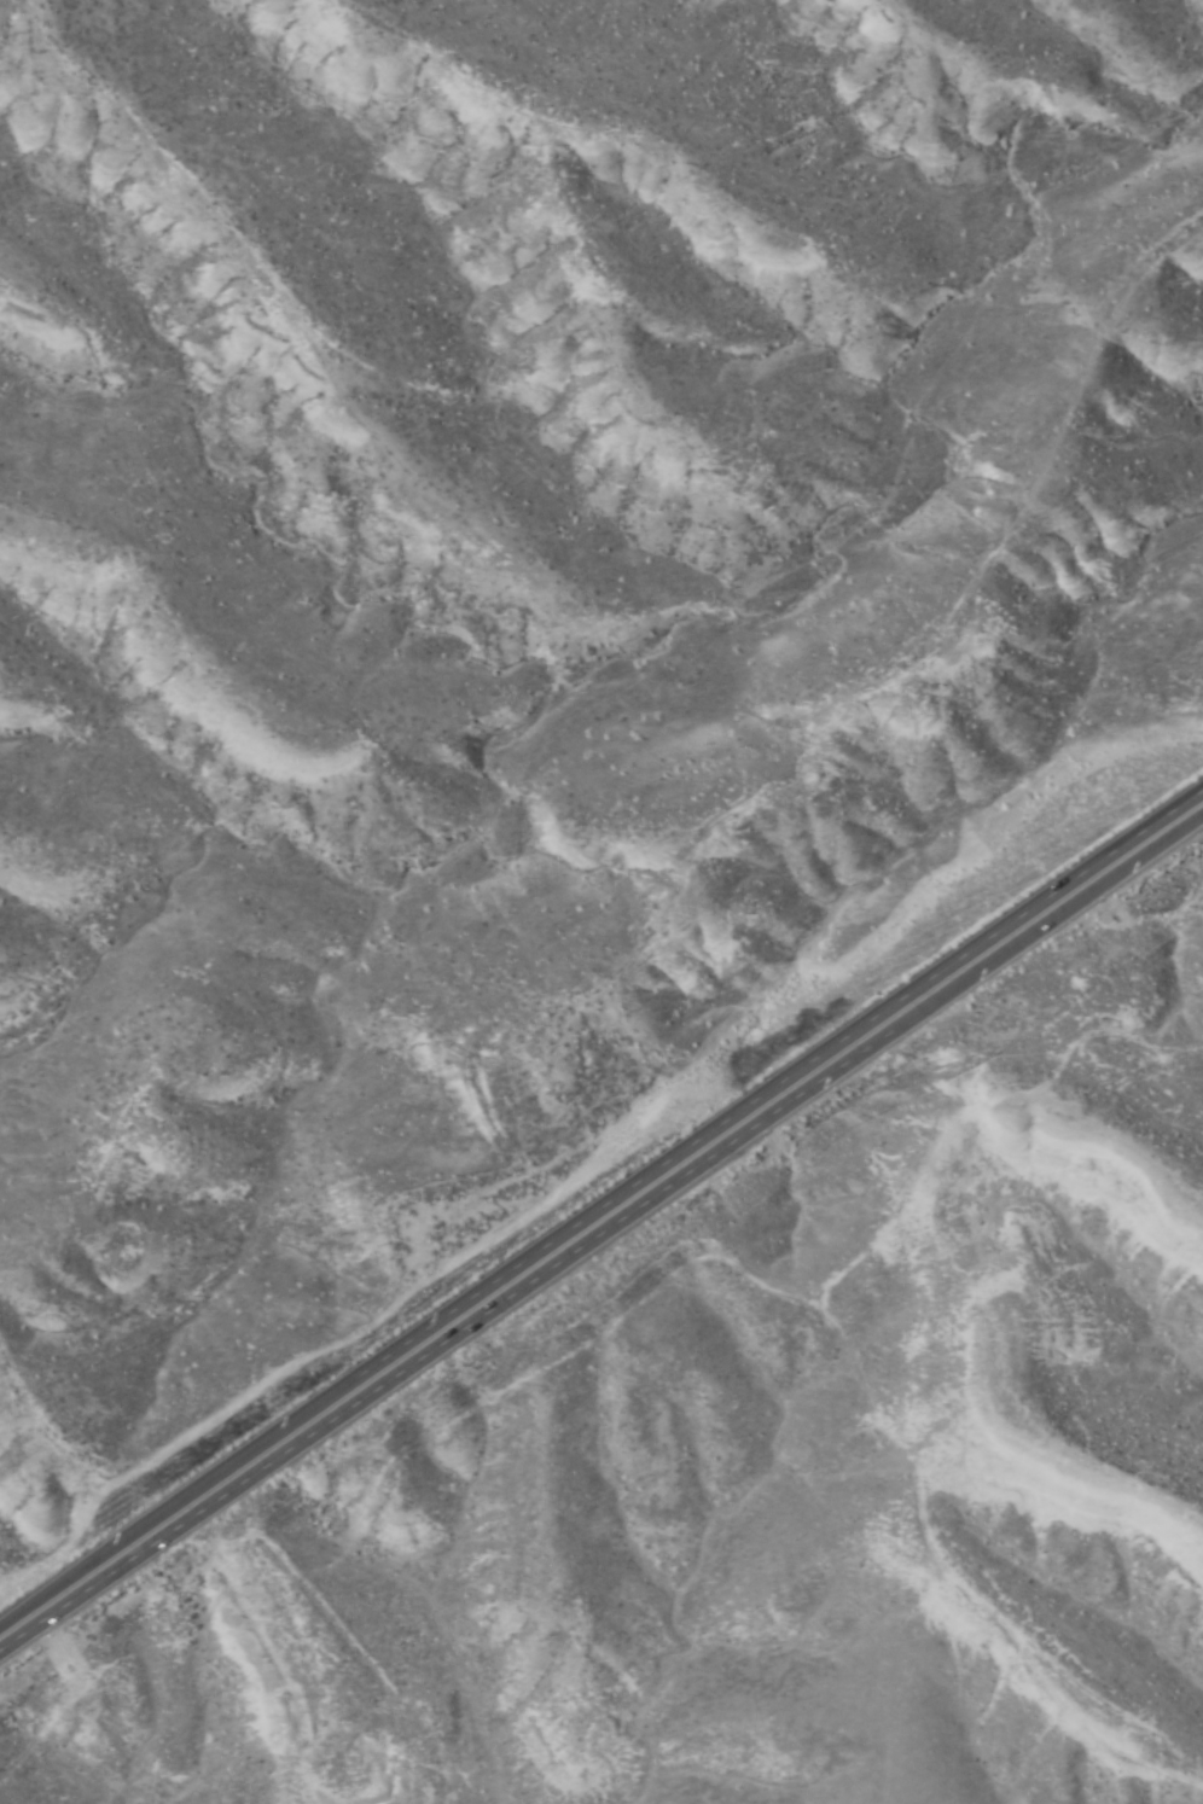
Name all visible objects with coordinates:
road: (601, 1220)
crop: (810, 1527)

